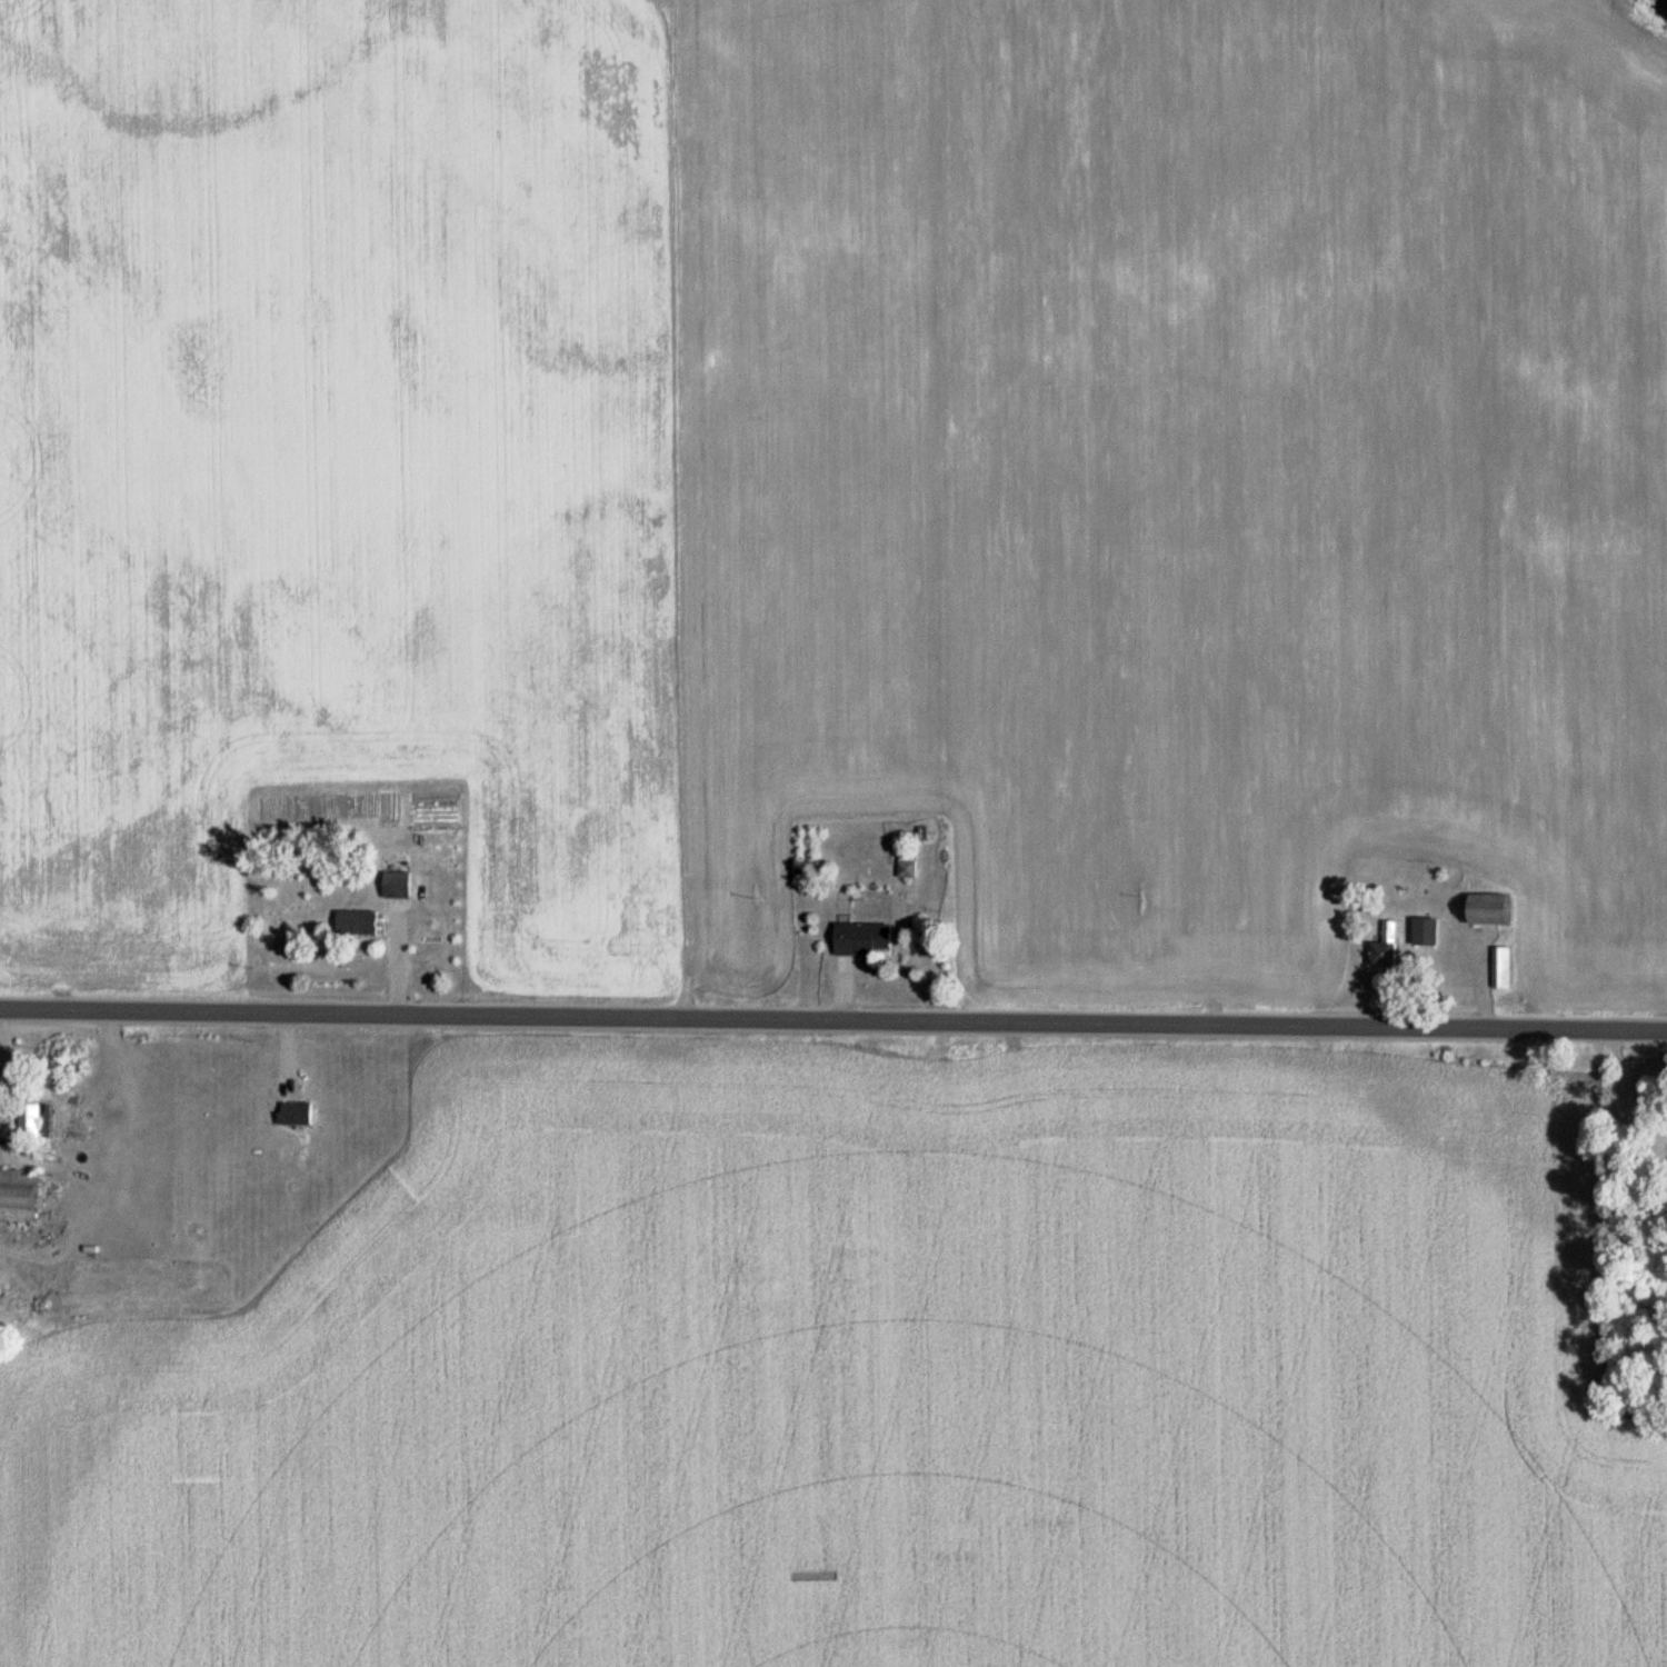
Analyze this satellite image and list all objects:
building: (906, 864)
building: (395, 885)
building: (1483, 909)
building: (353, 922)
building: (1423, 931)
building: (861, 938)
building: (1382, 947)
building: (1499, 967)
road: (833, 1020)
building: (292, 1114)
building: (26, 1120)
building: (17, 1196)
park: (1635, 1225)

